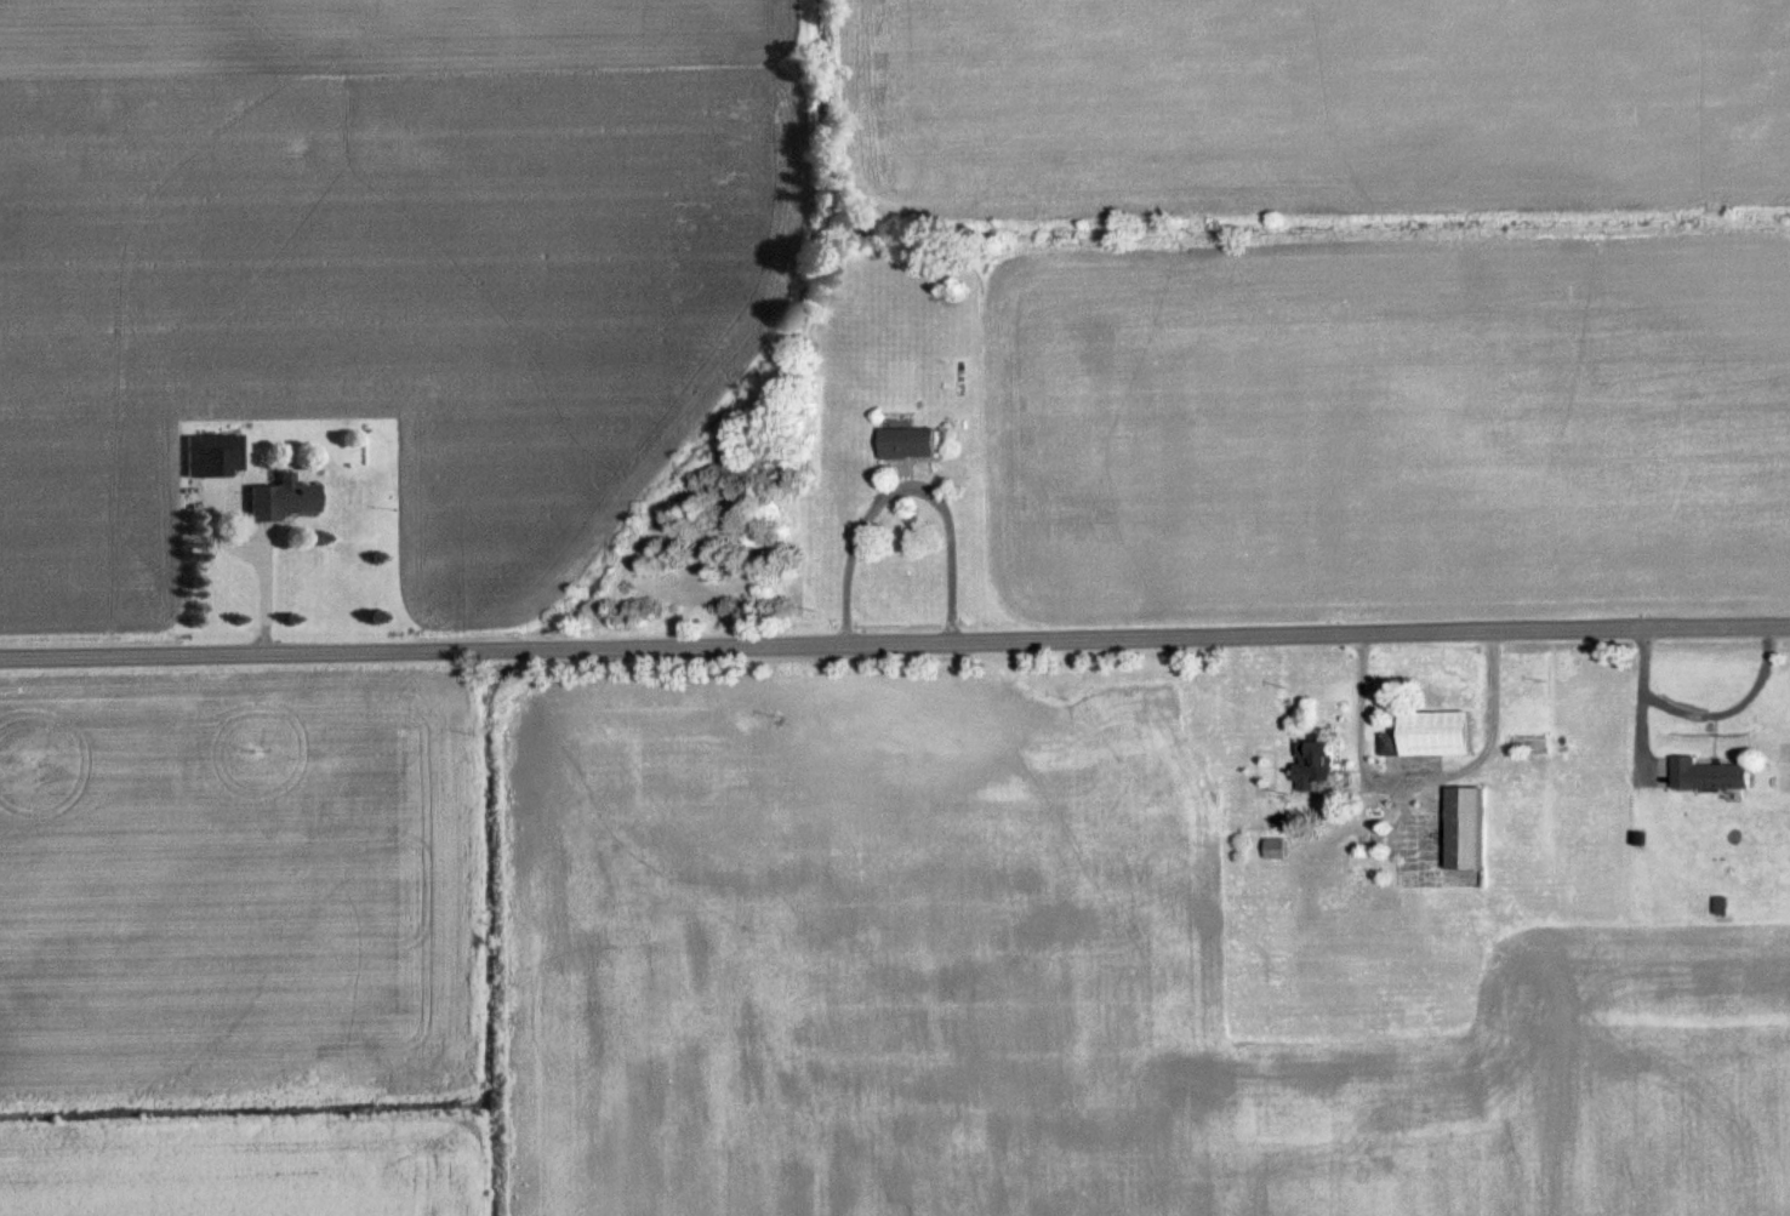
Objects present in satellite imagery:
building: (919, 444)
building: (215, 456)
road: (913, 487)
building: (283, 501)
road: (239, 559)
road: (895, 639)
road: (1699, 713)
building: (1452, 733)
building: (1401, 744)
building: (1328, 765)
road: (1419, 773)
building: (1720, 776)
building: (1476, 828)
building: (1286, 849)

